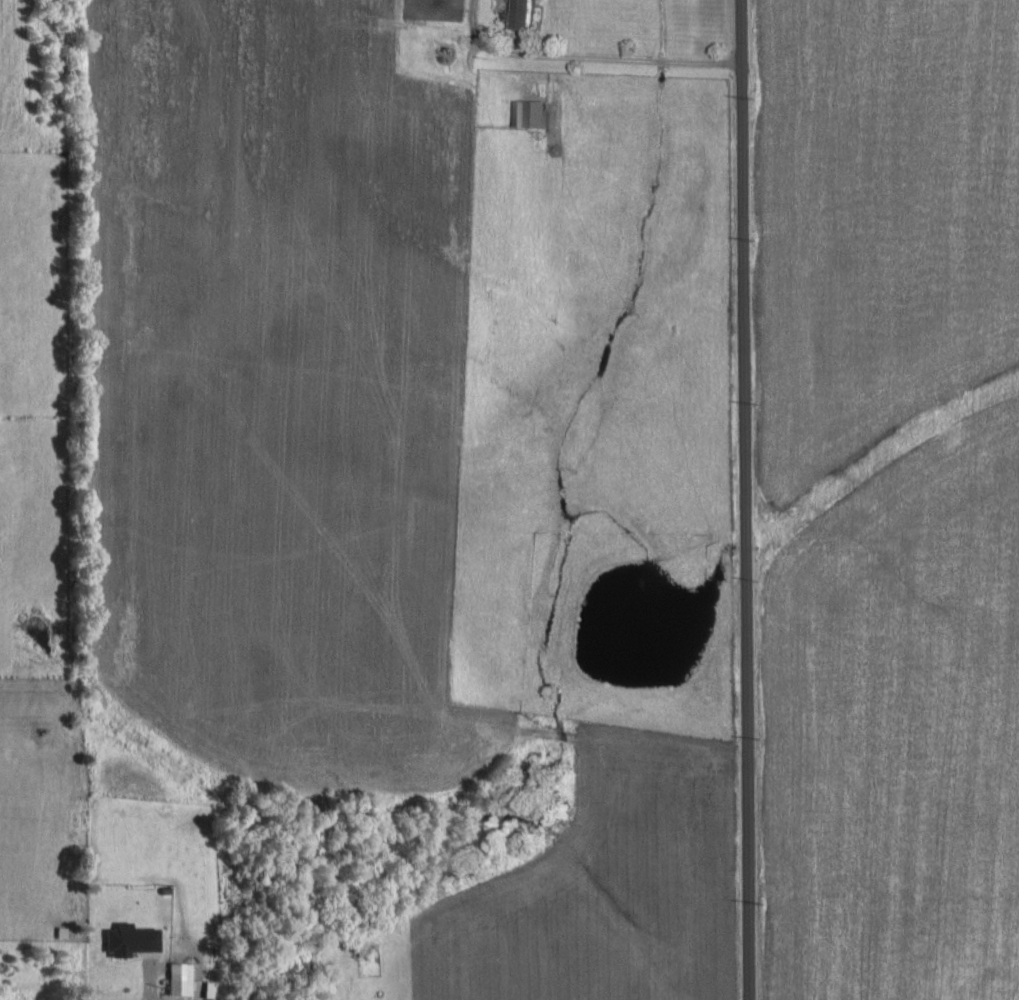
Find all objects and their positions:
building: (520, 14)
building: (529, 113)
road: (721, 500)
building: (128, 938)
building: (177, 977)
road: (149, 991)

